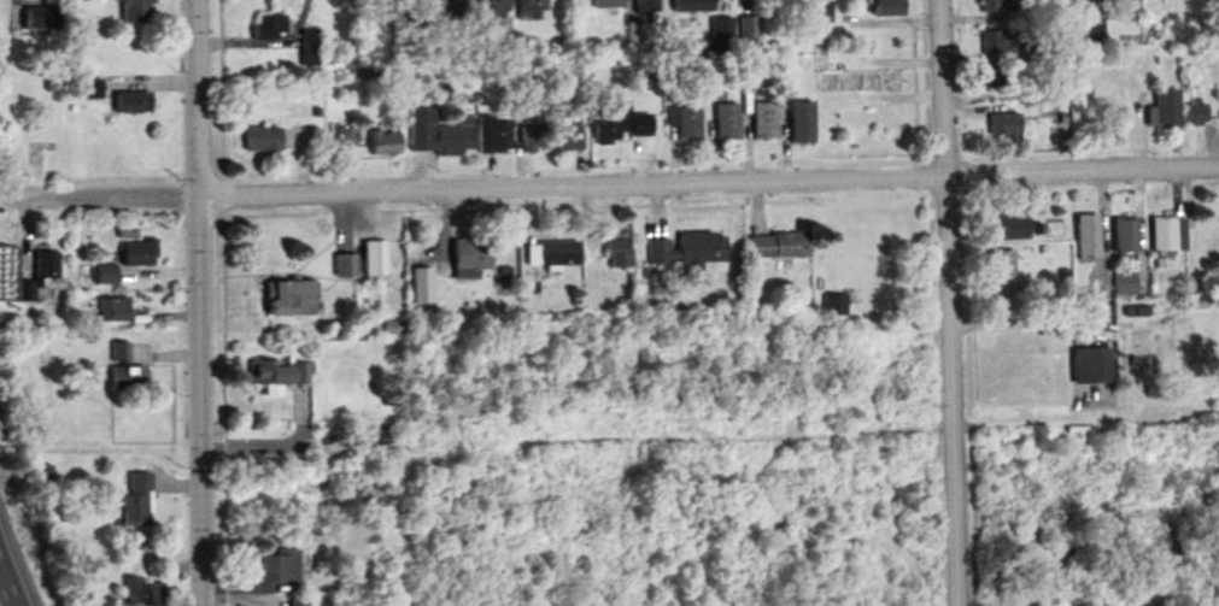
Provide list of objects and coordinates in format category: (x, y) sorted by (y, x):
building: (608, 4)
building: (646, 6)
building: (692, 6)
building: (994, 6)
building: (889, 7)
building: (532, 10)
building: (136, 11)
building: (453, 11)
building: (494, 11)
building: (824, 12)
building: (39, 17)
building: (271, 28)
building: (750, 34)
building: (721, 35)
building: (1090, 36)
building: (1002, 42)
building: (310, 47)
building: (995, 78)
building: (86, 89)
building: (133, 102)
building: (1166, 108)
building: (1196, 113)
building: (685, 120)
building: (727, 120)
building: (764, 120)
building: (802, 122)
building: (621, 124)
building: (1004, 124)
building: (493, 134)
building: (439, 135)
building: (347, 137)
building: (568, 137)
building: (262, 139)
building: (533, 139)
building: (385, 142)
road: (609, 182)
building: (1012, 228)
building: (1168, 234)
building: (1088, 235)
building: (1126, 235)
building: (779, 245)
building: (684, 251)
building: (139, 253)
building: (551, 253)
building: (616, 253)
building: (470, 254)
building: (375, 260)
building: (1002, 264)
building: (344, 265)
building: (47, 270)
building: (105, 275)
building: (1100, 283)
building: (1125, 283)
building: (291, 298)
road: (198, 302)
road: (951, 302)
building: (834, 304)
building: (113, 310)
building: (118, 352)
building: (1092, 365)
building: (280, 373)
building: (127, 377)
road: (740, 439)
road: (175, 479)
building: (134, 502)
road: (1170, 505)
road: (1115, 513)
road: (790, 526)
building: (275, 567)
road: (7, 587)
building: (143, 593)
building: (298, 602)

